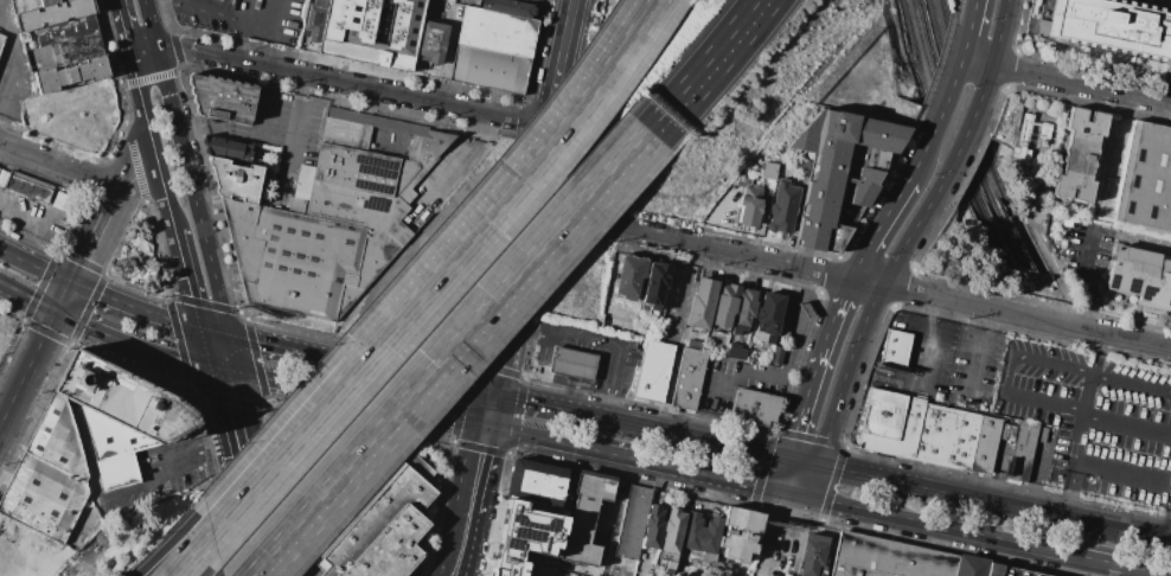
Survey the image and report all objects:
building: (531, 0)
building: (50, 2)
building: (320, 4)
road: (193, 7)
building: (511, 7)
building: (53, 14)
road: (268, 23)
building: (314, 24)
road: (120, 26)
building: (1112, 26)
road: (965, 27)
railway: (907, 28)
building: (376, 30)
building: (58, 31)
building: (497, 31)
building: (0, 37)
road: (237, 38)
building: (1, 40)
building: (431, 41)
road: (141, 49)
building: (65, 51)
road: (997, 51)
road: (559, 62)
road: (698, 64)
building: (491, 69)
road: (11, 70)
building: (70, 73)
road: (1066, 77)
parking lot: (1170, 78)
road: (351, 83)
building: (223, 98)
road: (140, 103)
road: (939, 111)
building: (1034, 129)
railway: (953, 135)
road: (289, 137)
railway: (967, 137)
railway: (981, 140)
road: (962, 141)
building: (226, 148)
building: (1076, 156)
road: (460, 162)
road: (60, 165)
road: (186, 168)
building: (769, 171)
building: (840, 171)
building: (236, 180)
building: (743, 180)
building: (1144, 184)
road: (161, 187)
building: (28, 188)
building: (59, 200)
building: (783, 206)
building: (751, 209)
road: (31, 213)
road: (105, 216)
building: (333, 217)
road: (883, 223)
road: (526, 225)
road: (913, 233)
park: (137, 257)
road: (36, 268)
road: (184, 274)
road: (444, 275)
building: (632, 277)
road: (850, 277)
road: (1081, 277)
building: (1137, 279)
building: (655, 283)
traffic signals: (71, 287)
road: (846, 288)
road: (28, 295)
road: (65, 299)
building: (700, 301)
building: (724, 307)
traffic signals: (59, 311)
road: (930, 311)
road: (133, 312)
building: (746, 312)
building: (768, 318)
traffic signals: (198, 331)
road: (213, 333)
road: (543, 333)
traffic signals: (230, 337)
road: (132, 339)
building: (697, 345)
road: (201, 346)
road: (283, 347)
building: (894, 348)
road: (443, 351)
building: (736, 352)
road: (233, 353)
building: (776, 354)
road: (619, 356)
road: (975, 357)
parking lot: (922, 359)
traffic signals: (206, 361)
building: (572, 361)
road: (928, 361)
road: (27, 364)
road: (382, 370)
building: (654, 370)
parking lot: (979, 370)
traffic signals: (238, 371)
road: (847, 375)
road: (1006, 375)
road: (210, 376)
road: (755, 376)
road: (497, 377)
road: (812, 377)
building: (689, 379)
road: (1131, 379)
road: (292, 383)
road: (460, 386)
road: (567, 392)
traffic signals: (493, 395)
road: (545, 405)
building: (754, 409)
road: (431, 415)
building: (122, 416)
road: (248, 416)
parking lot: (1095, 420)
building: (892, 424)
road: (1127, 424)
road: (1081, 425)
traffic signals: (486, 428)
road: (654, 429)
building: (949, 437)
building: (57, 439)
road: (546, 440)
building: (987, 446)
road: (748, 449)
building: (1023, 450)
traffic signals: (786, 459)
road: (802, 462)
road: (164, 466)
traffic signals: (819, 466)
road: (691, 472)
road: (1121, 472)
road: (780, 474)
road: (813, 481)
road: (237, 484)
building: (543, 486)
road: (473, 487)
traffic signals: (776, 491)
road: (792, 493)
building: (44, 498)
traffic signals: (808, 498)
road: (994, 504)
road: (274, 519)
building: (584, 519)
building: (632, 521)
road: (936, 525)
building: (653, 526)
road: (1169, 529)
building: (384, 530)
building: (700, 533)
building: (740, 533)
road: (775, 533)
building: (671, 535)
building: (527, 540)
road: (183, 556)
road: (194, 556)
building: (814, 556)
building: (892, 559)
road: (450, 561)
road: (460, 561)
road: (1115, 564)
building: (979, 569)
building: (1012, 572)
parking lot: (1012, 572)

